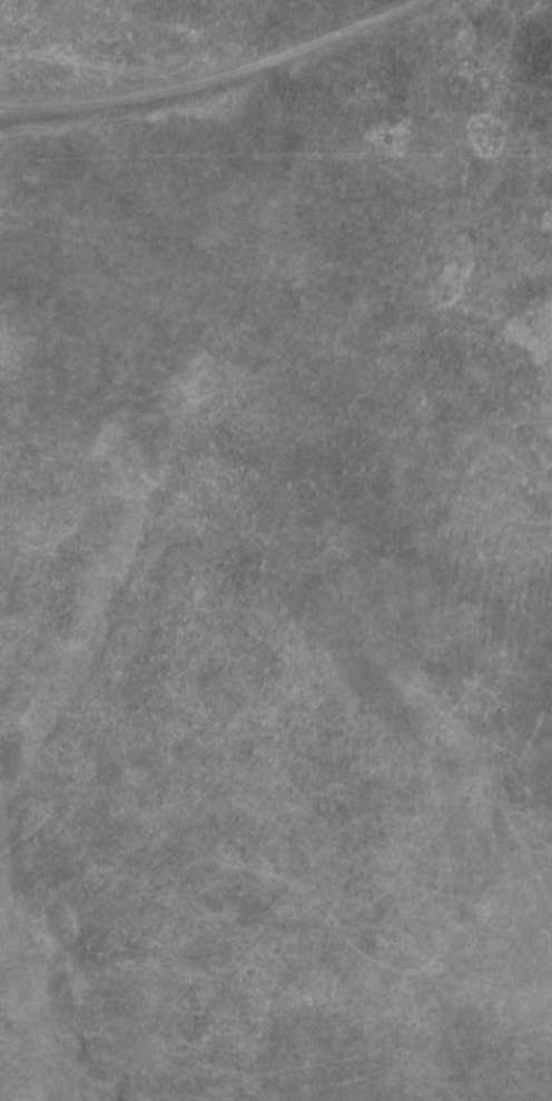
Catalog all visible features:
road: (166, 32)

